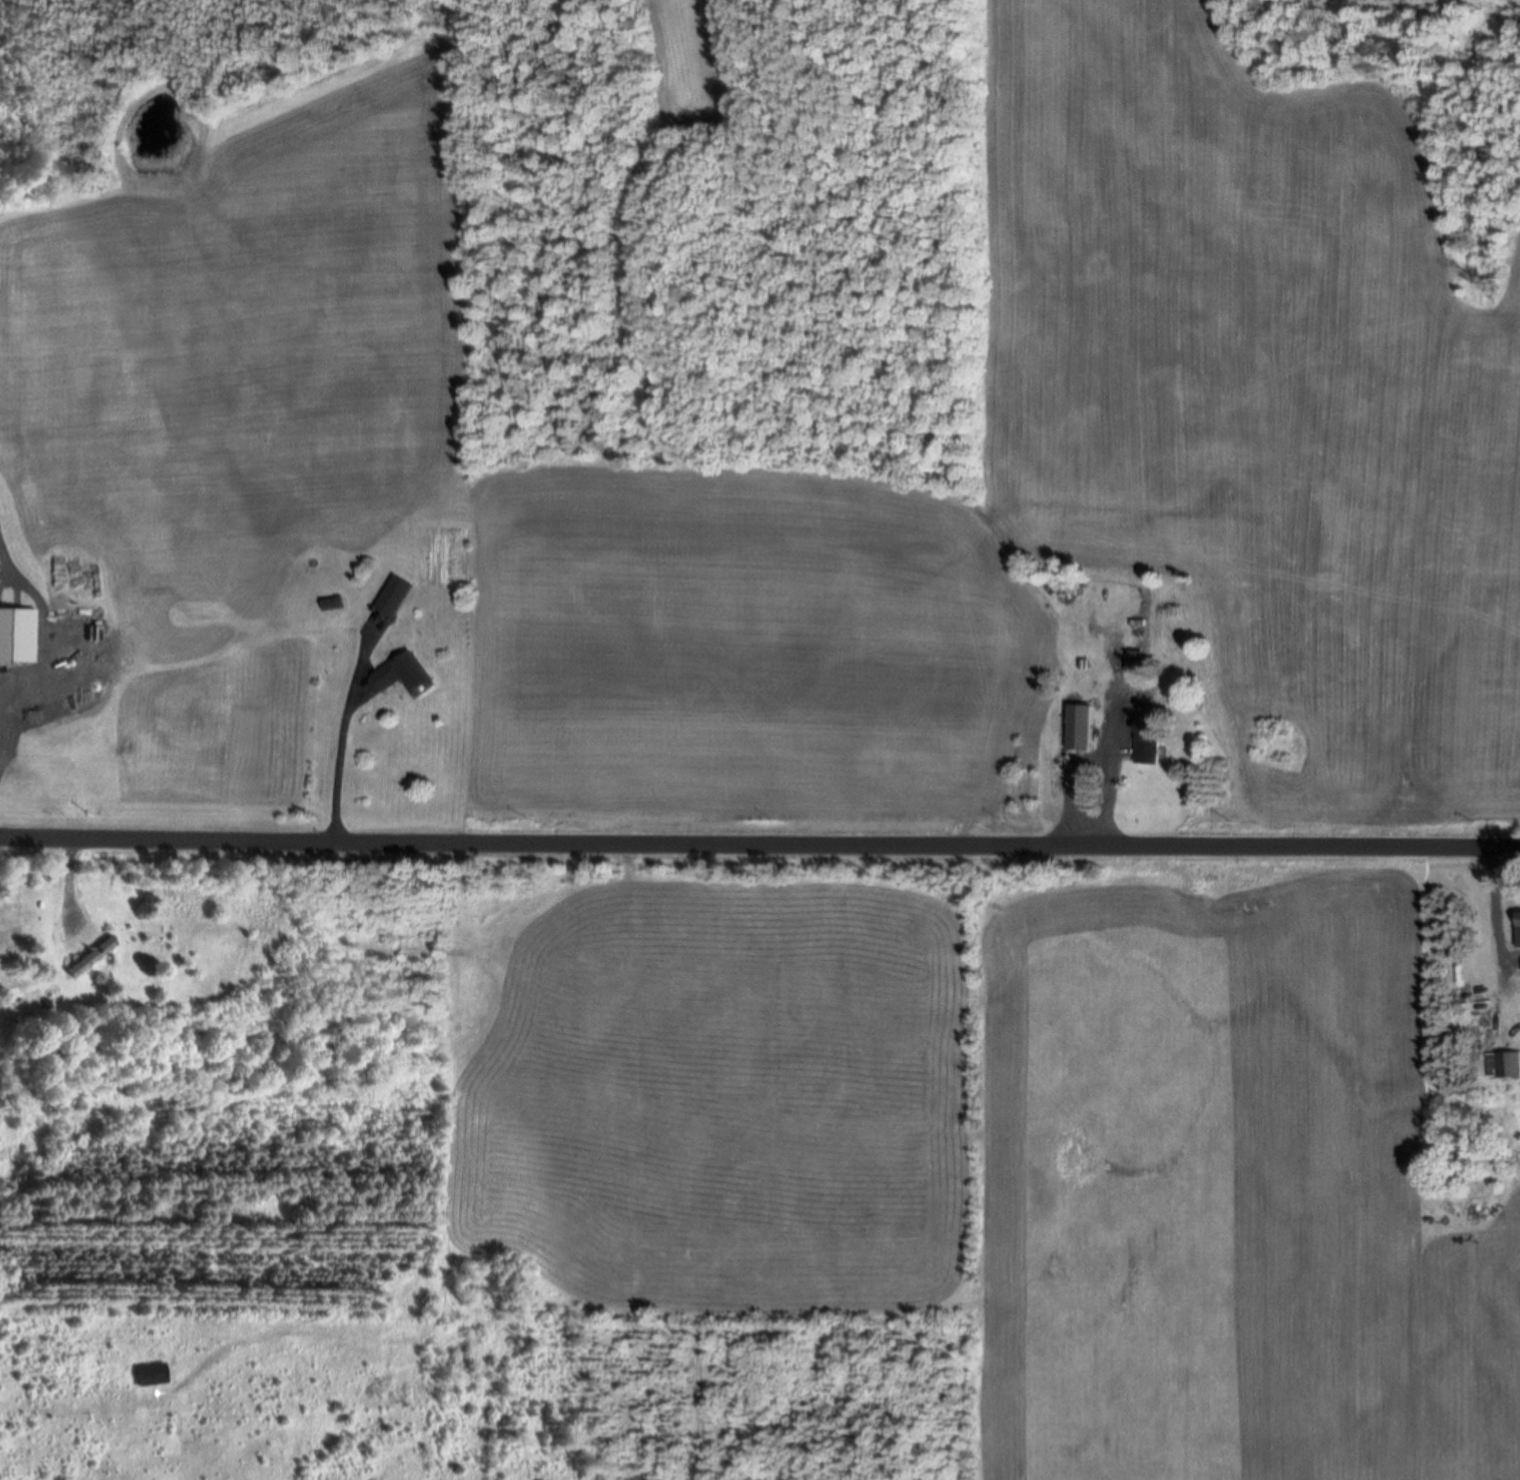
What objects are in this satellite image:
crop: (682, 57)
crop: (801, 493)
building: (395, 597)
building: (18, 637)
building: (1135, 662)
building: (407, 675)
crop: (383, 680)
crop: (1112, 701)
building: (1083, 729)
building: (1151, 741)
crop: (232, 830)
crop: (746, 833)
crop: (1345, 836)
road: (759, 845)
building: (1519, 931)
building: (94, 959)
building: (1508, 1067)
building: (151, 1377)

